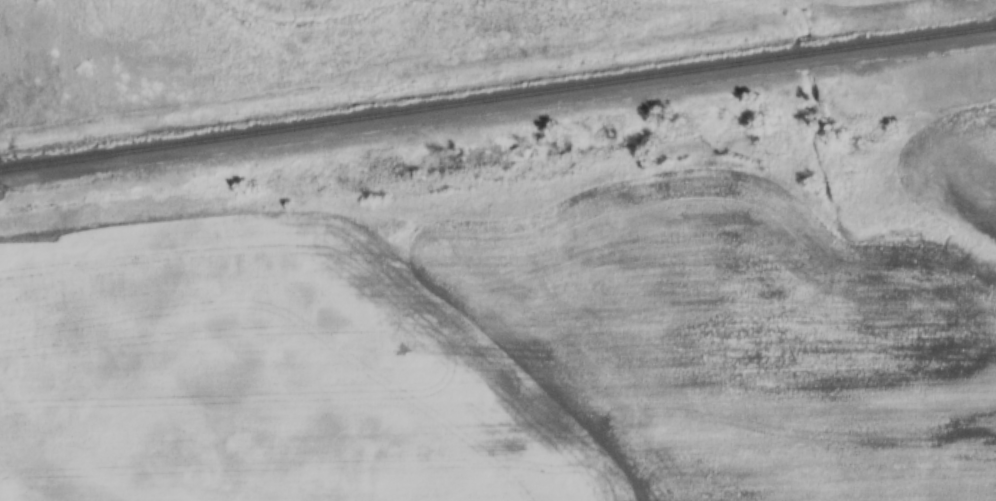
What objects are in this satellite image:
railway: (498, 98)

